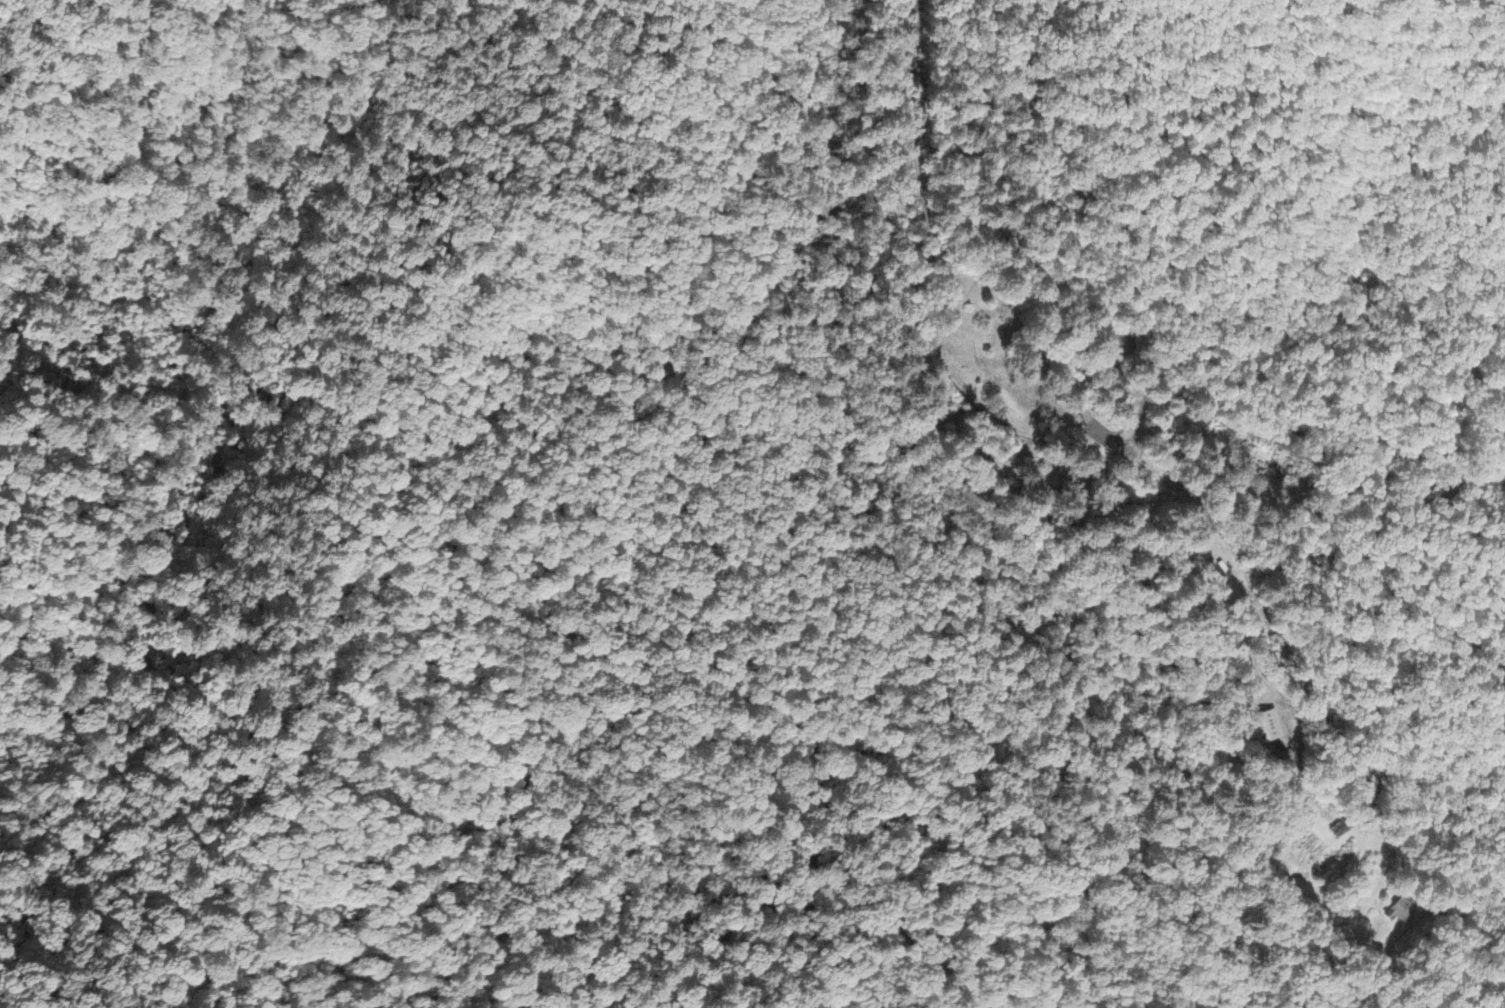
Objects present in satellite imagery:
road: (427, 84)
road: (894, 101)
road: (691, 217)
road: (1178, 549)
building: (1268, 728)

